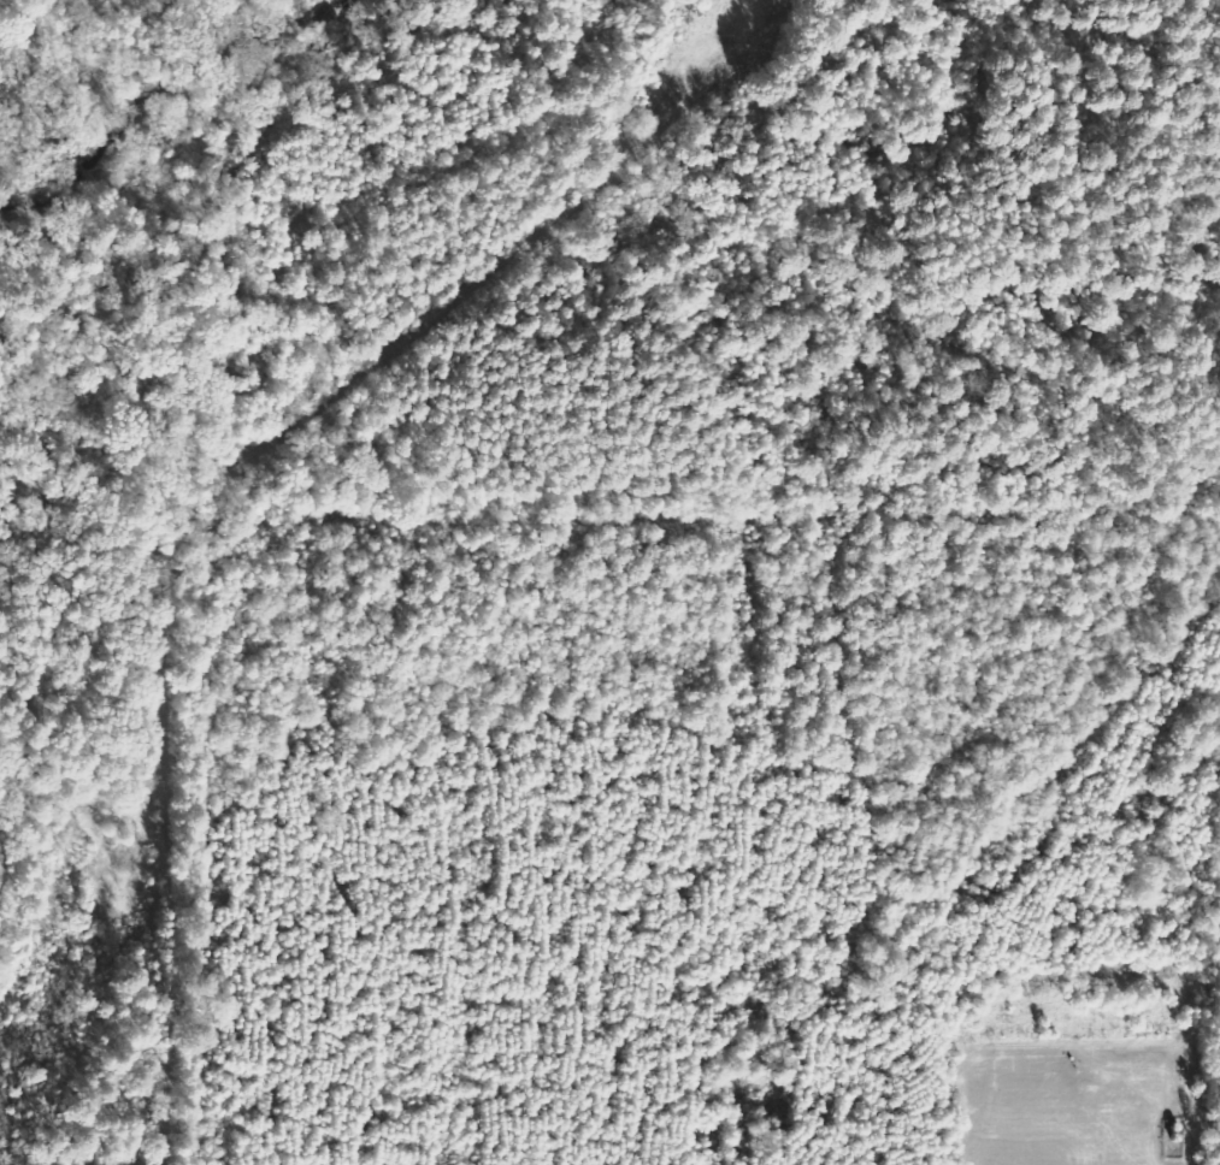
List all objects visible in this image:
road: (61, 1128)

